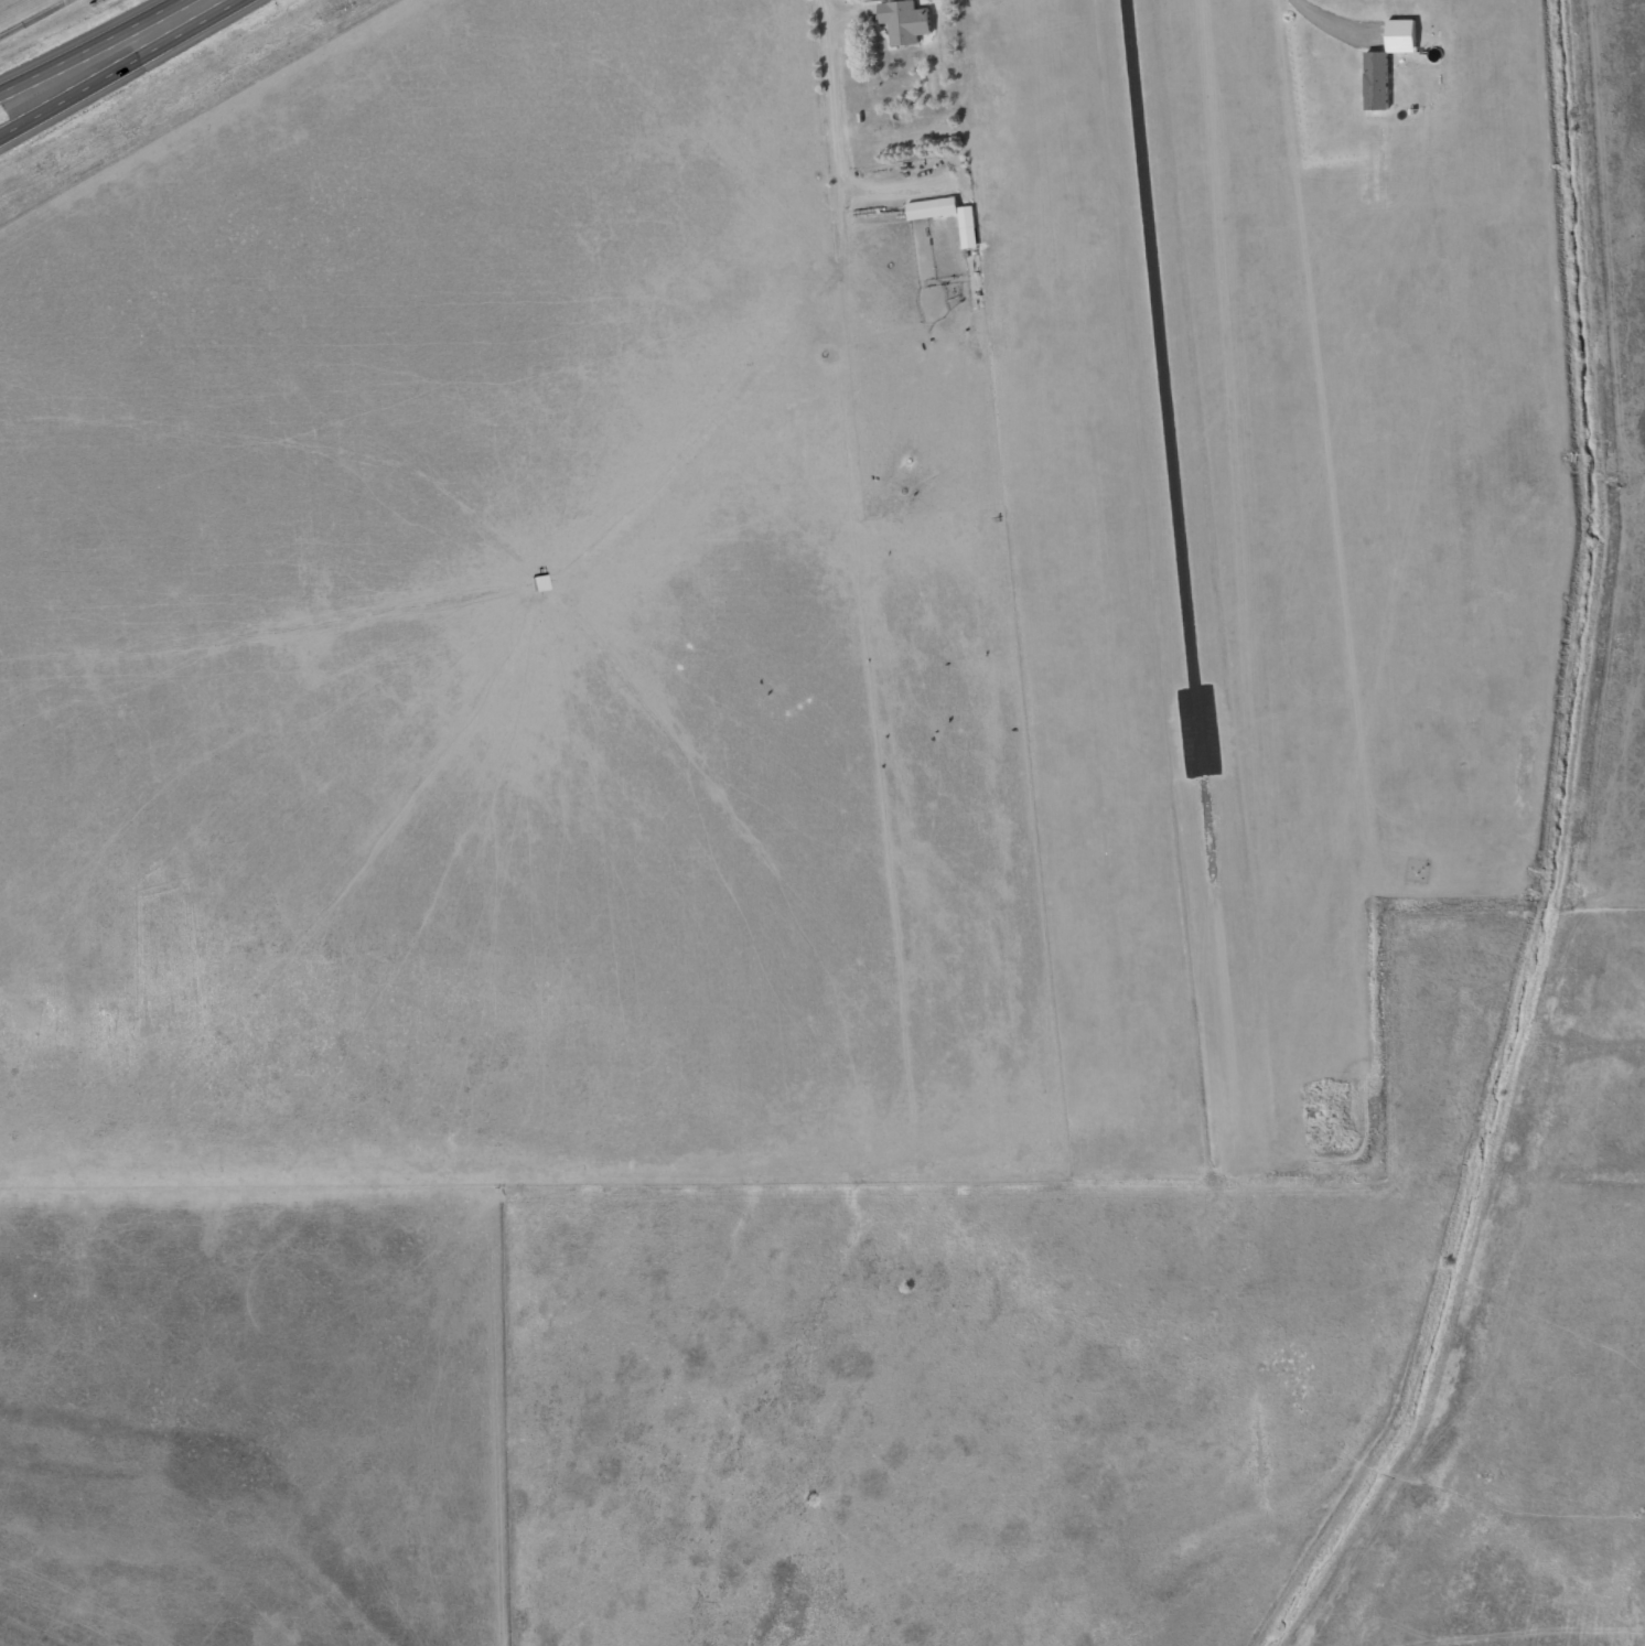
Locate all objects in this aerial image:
building: (903, 21)
building: (1398, 34)
road: (129, 45)
building: (1374, 79)
road: (23, 92)
road: (24, 116)
building: (931, 207)
building: (967, 226)

